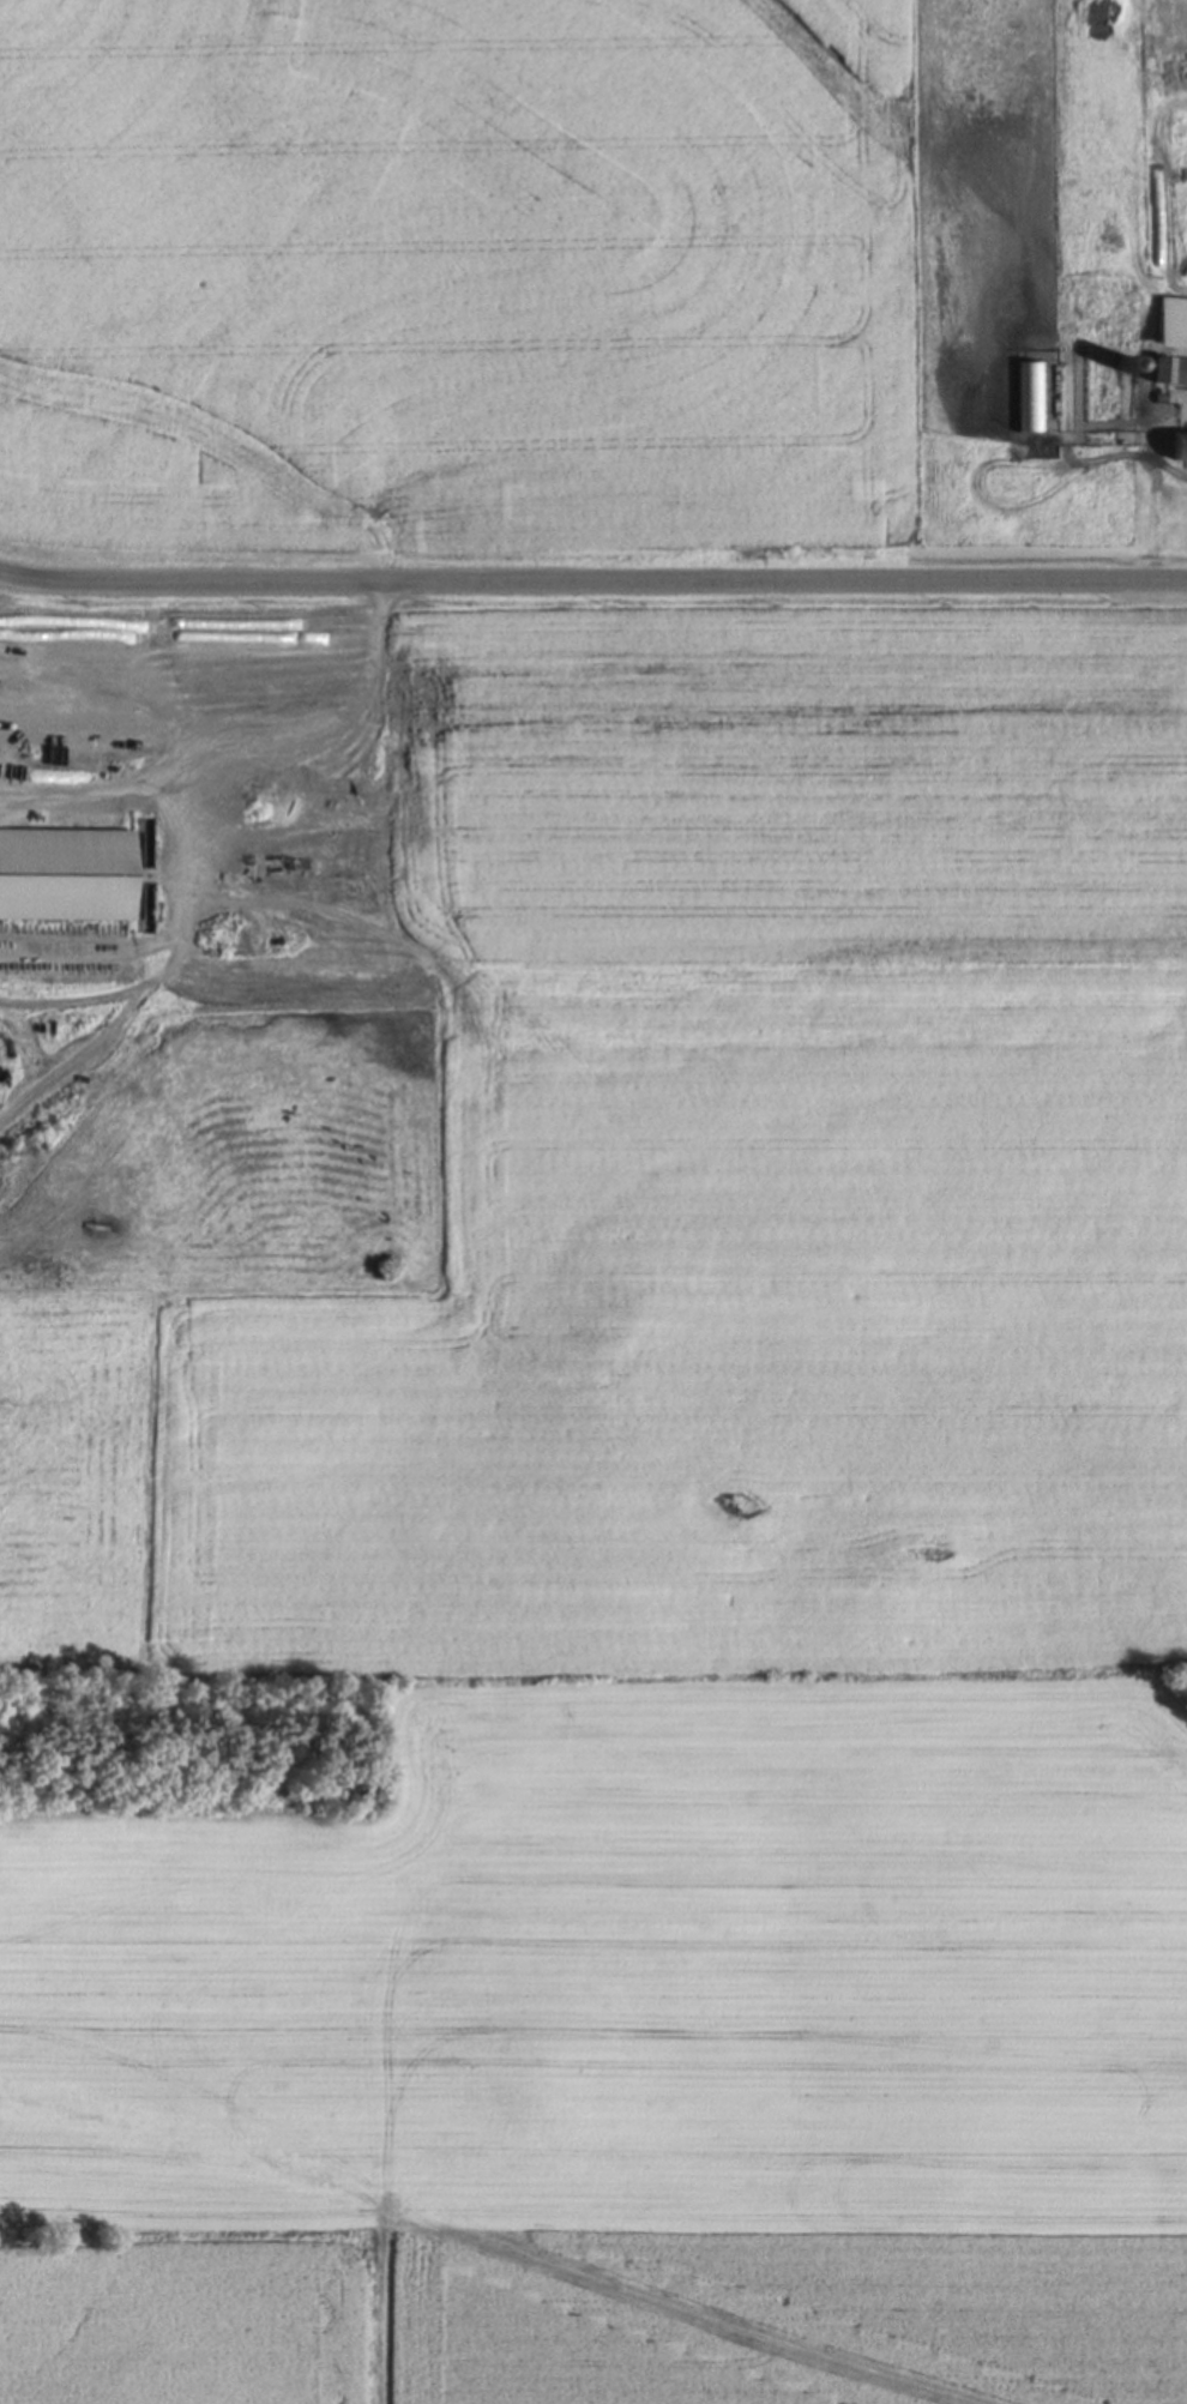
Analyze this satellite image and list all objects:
building: (1171, 320)
building: (1170, 368)
building: (1031, 394)
building: (1180, 445)
road: (592, 583)
road: (80, 800)
road: (169, 815)
building: (66, 873)
road: (77, 1001)

